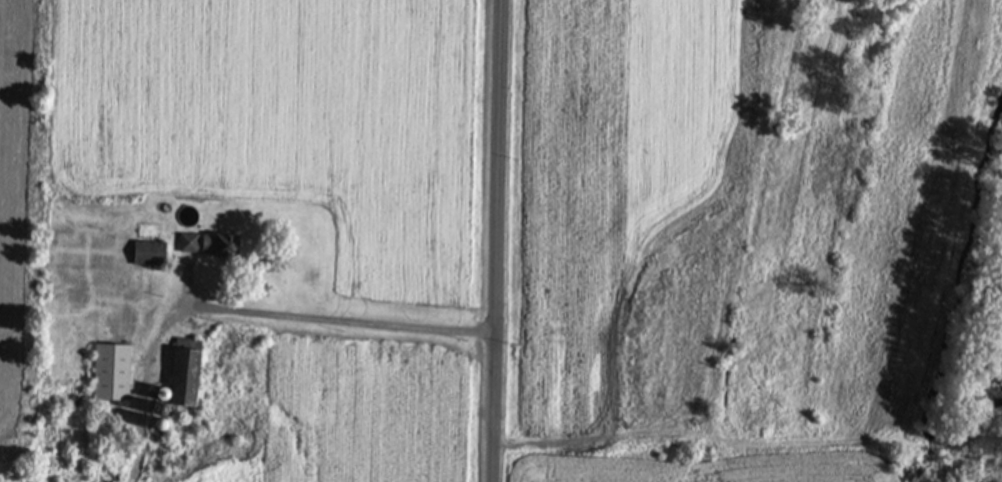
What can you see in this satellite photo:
road: (492, 241)
building: (189, 247)
building: (219, 250)
building: (148, 257)
road: (344, 322)
building: (111, 376)
building: (185, 382)

